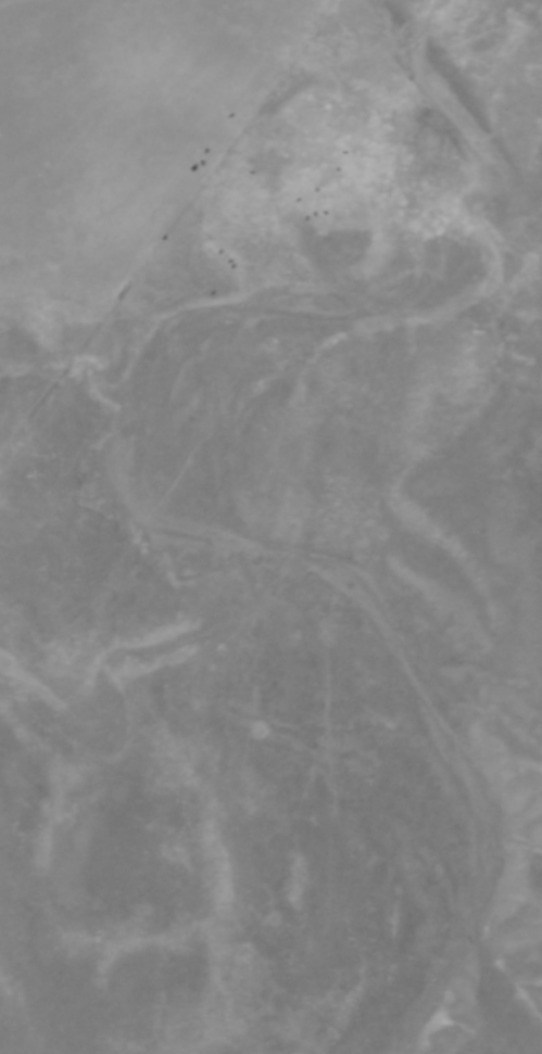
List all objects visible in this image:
crop: (123, 120)

